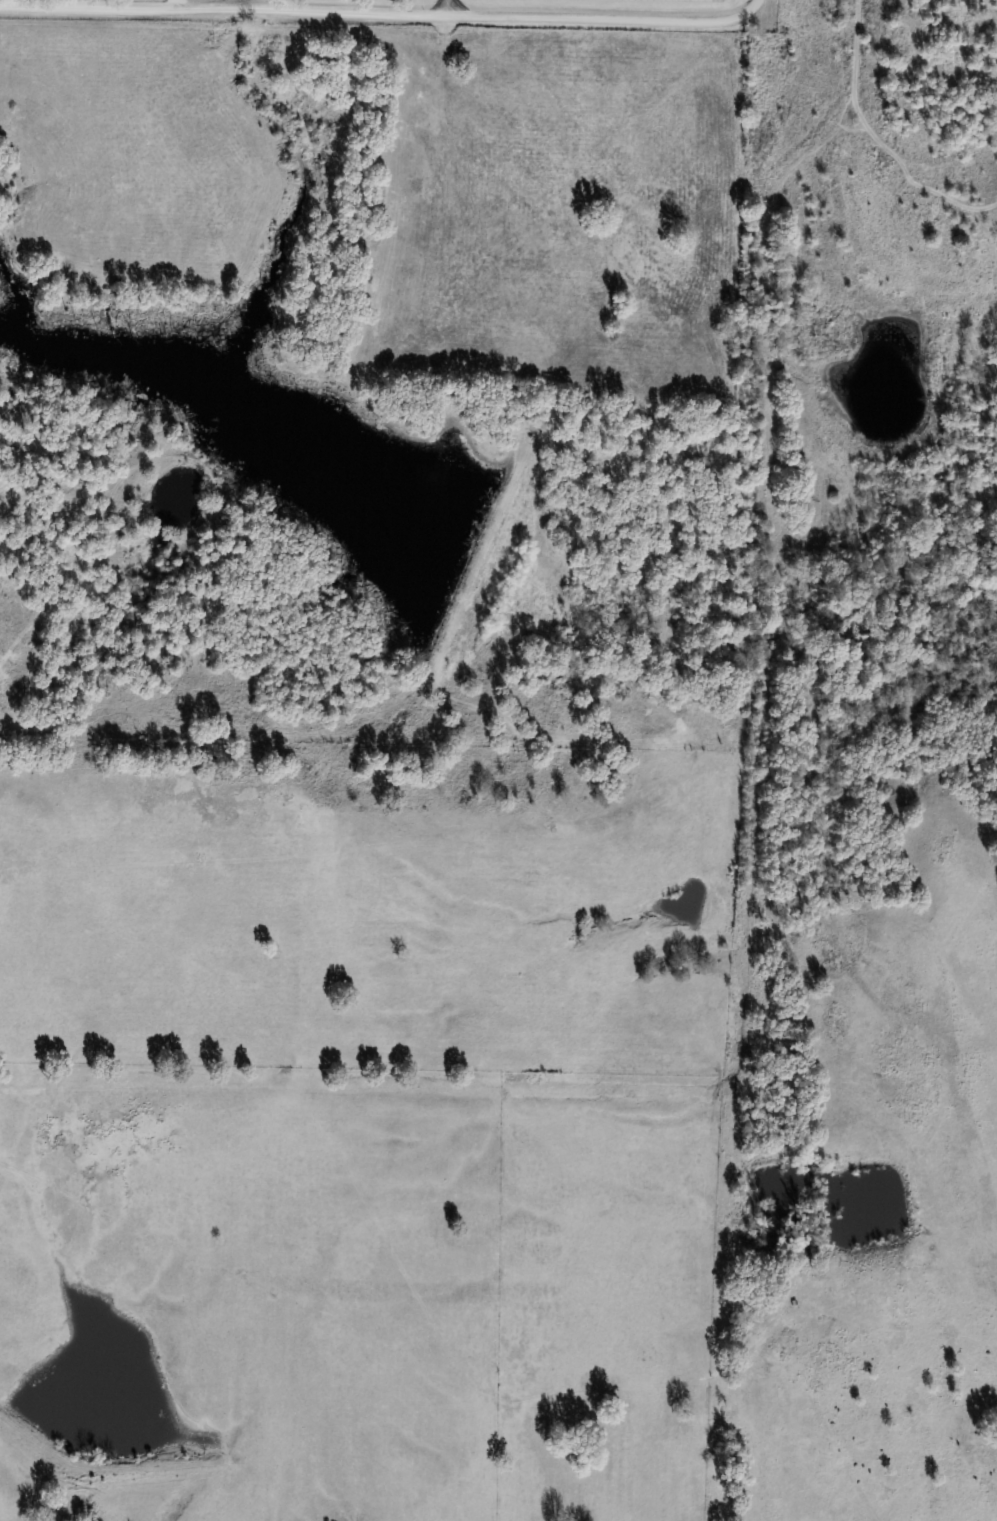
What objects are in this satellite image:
road: (445, 7)
road: (382, 13)

